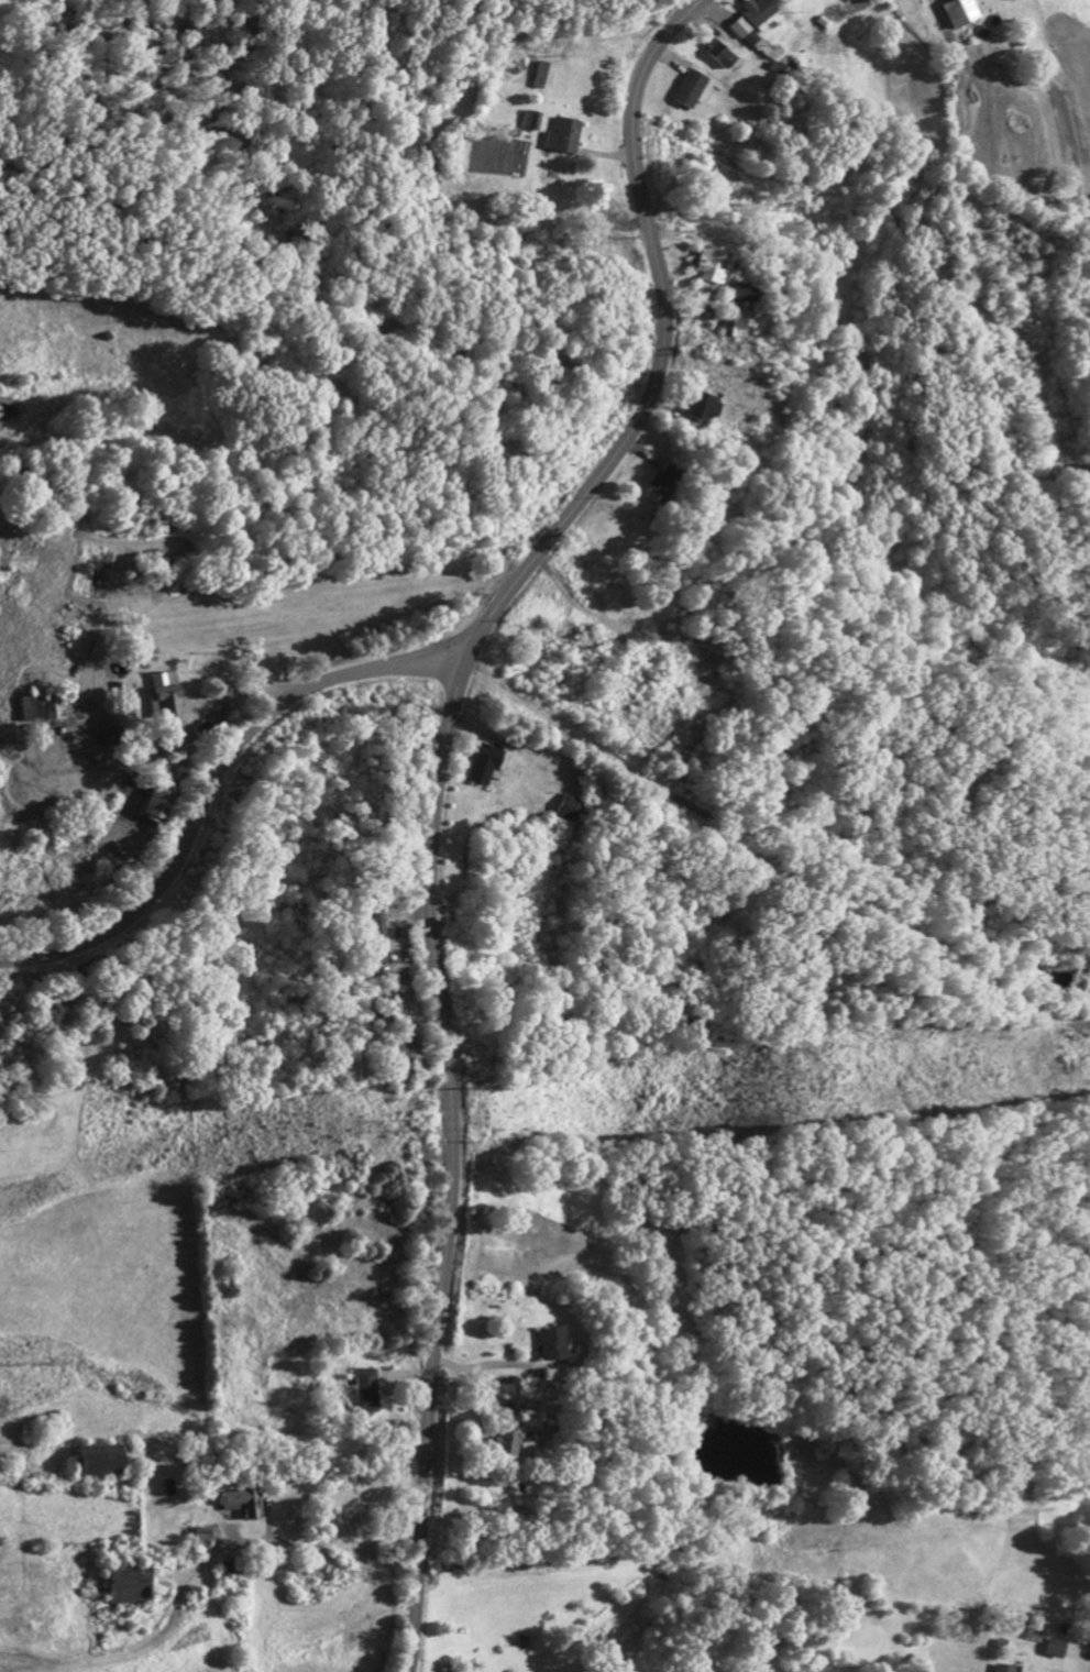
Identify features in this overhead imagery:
building: (959, 15)
building: (755, 16)
building: (736, 31)
building: (761, 52)
building: (717, 57)
building: (690, 94)
building: (531, 124)
building: (562, 140)
building: (705, 268)
building: (735, 297)
building: (728, 328)
building: (696, 409)
building: (658, 486)
building: (166, 697)
building: (43, 711)
building: (485, 767)
road: (212, 781)
road: (436, 792)
building: (156, 803)
building: (565, 811)
building: (375, 941)
power tower: (811, 1086)
power tower: (408, 1122)
building: (549, 1347)
road: (485, 1367)
building: (366, 1394)
building: (525, 1416)
building: (507, 1442)
building: (98, 1464)
building: (242, 1506)
road: (343, 1535)
building: (200, 1539)
building: (125, 1588)
building: (1054, 1651)
building: (1004, 1670)

